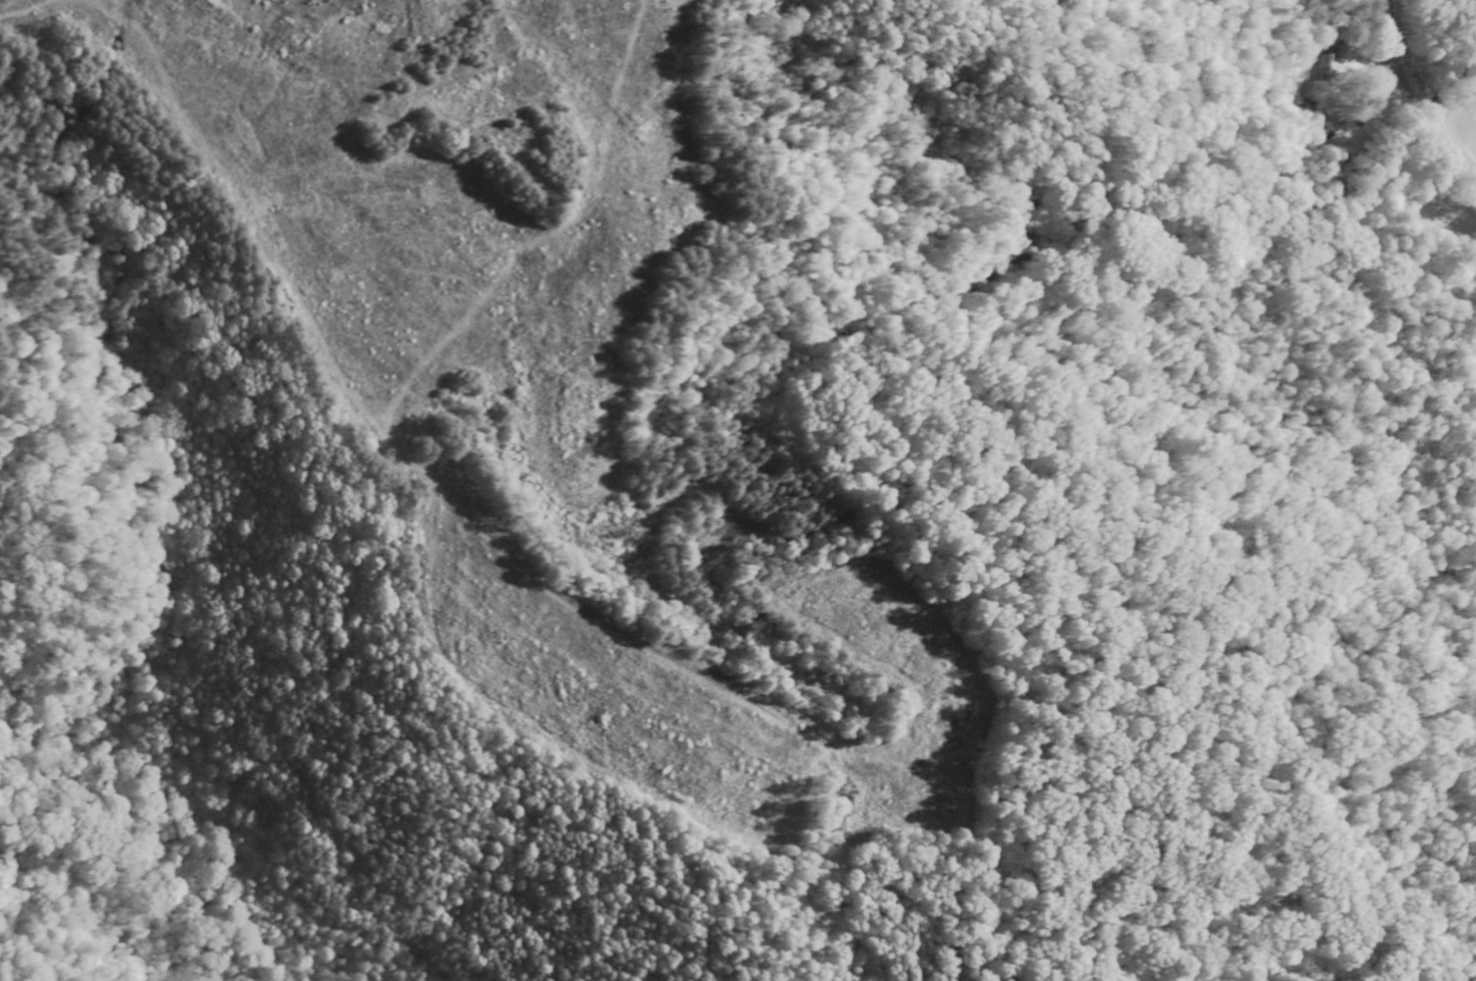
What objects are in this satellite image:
road: (1411, 93)
road: (165, 866)

